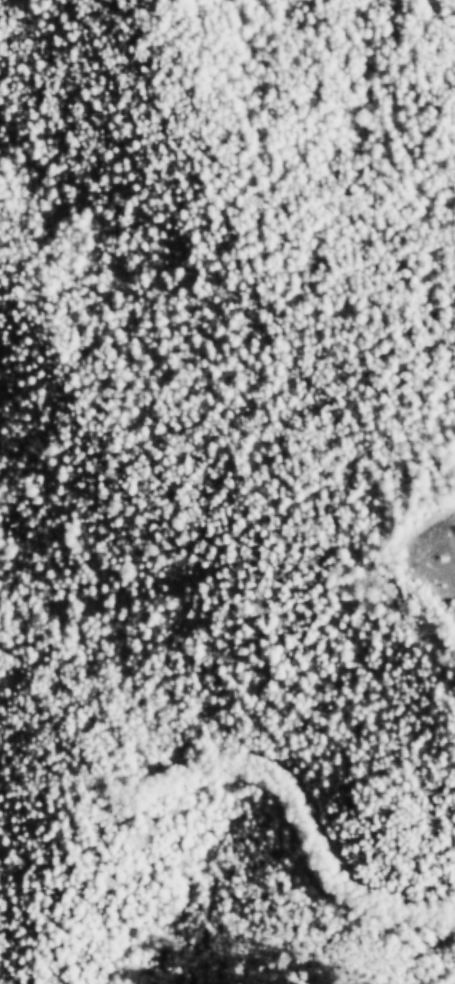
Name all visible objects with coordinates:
road: (439, 550)
road: (304, 804)

